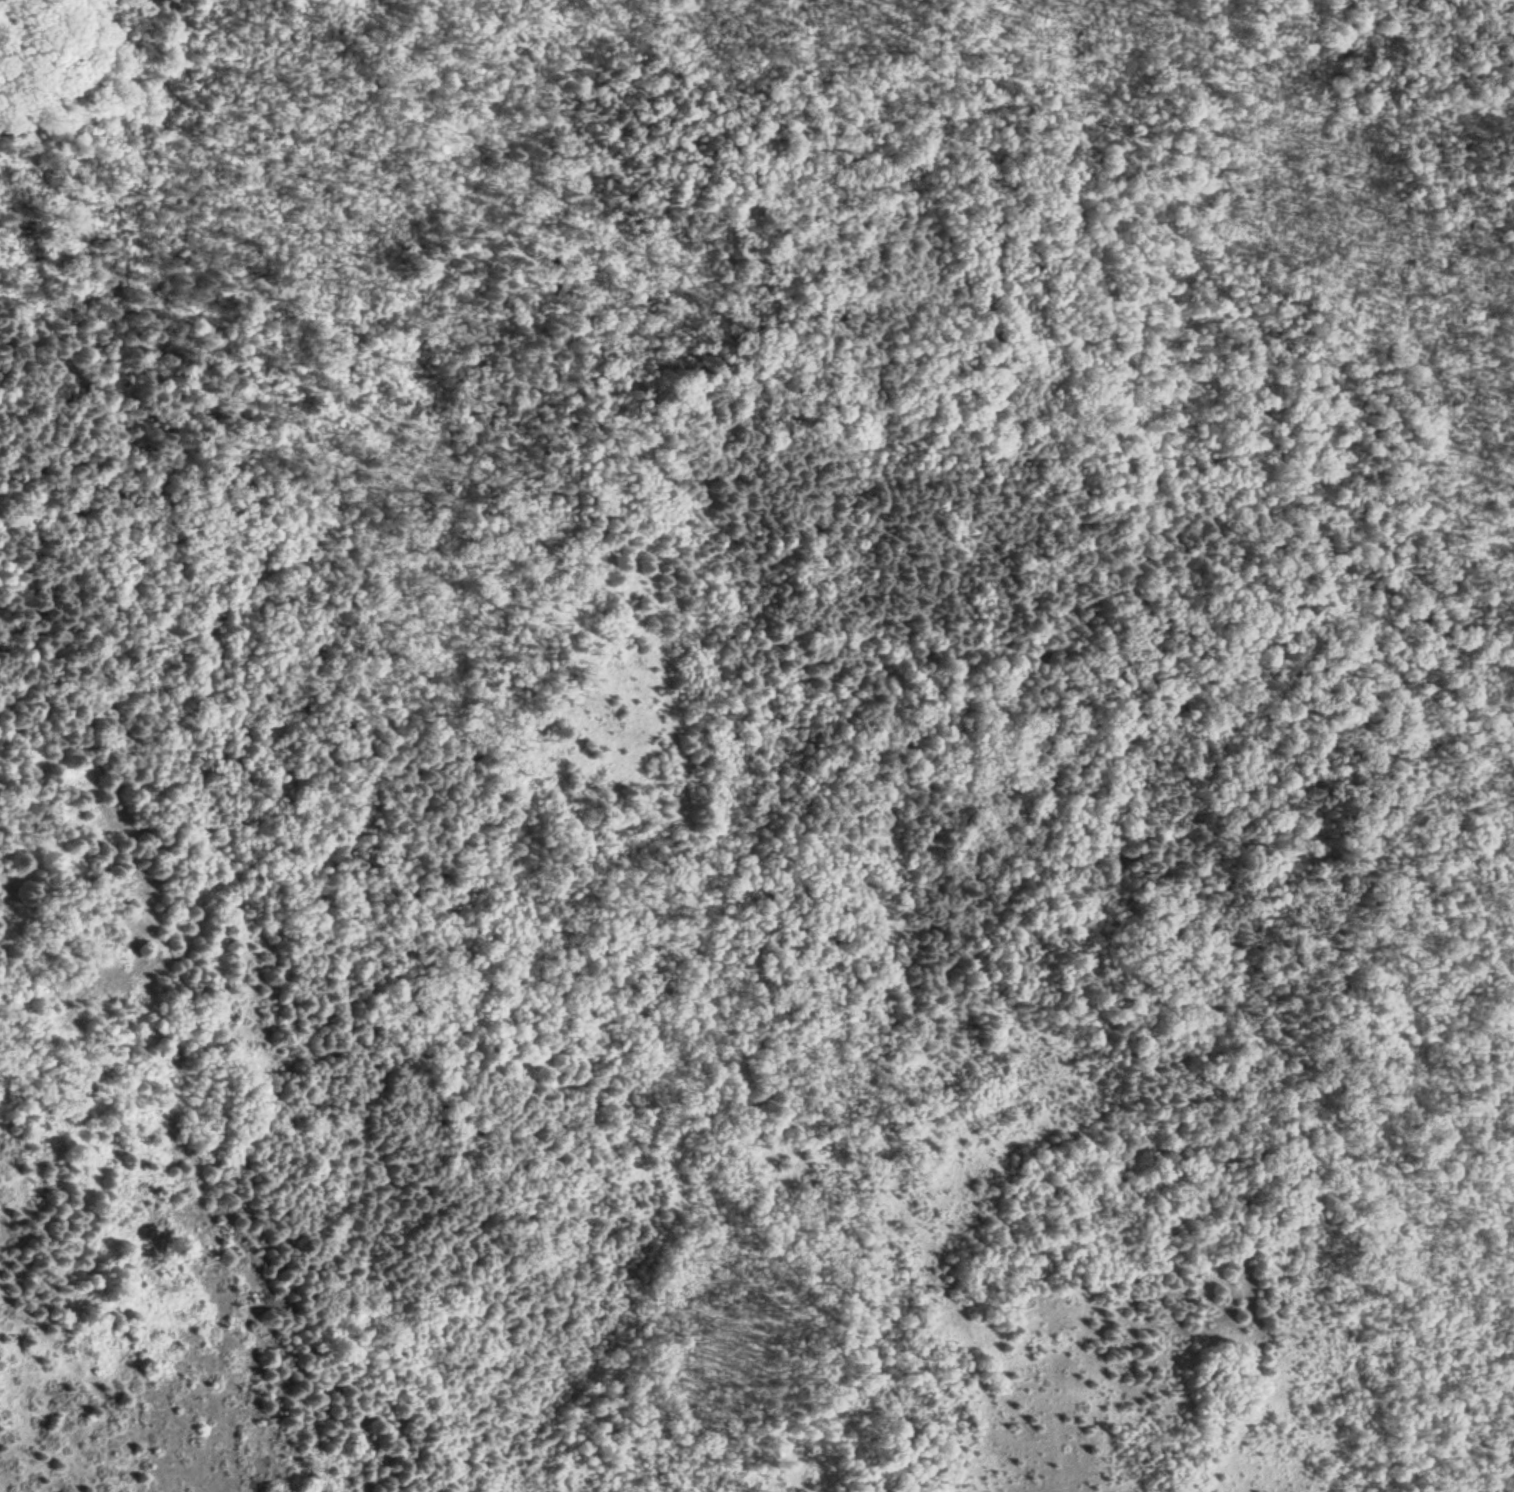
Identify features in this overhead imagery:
park: (169, 740)

